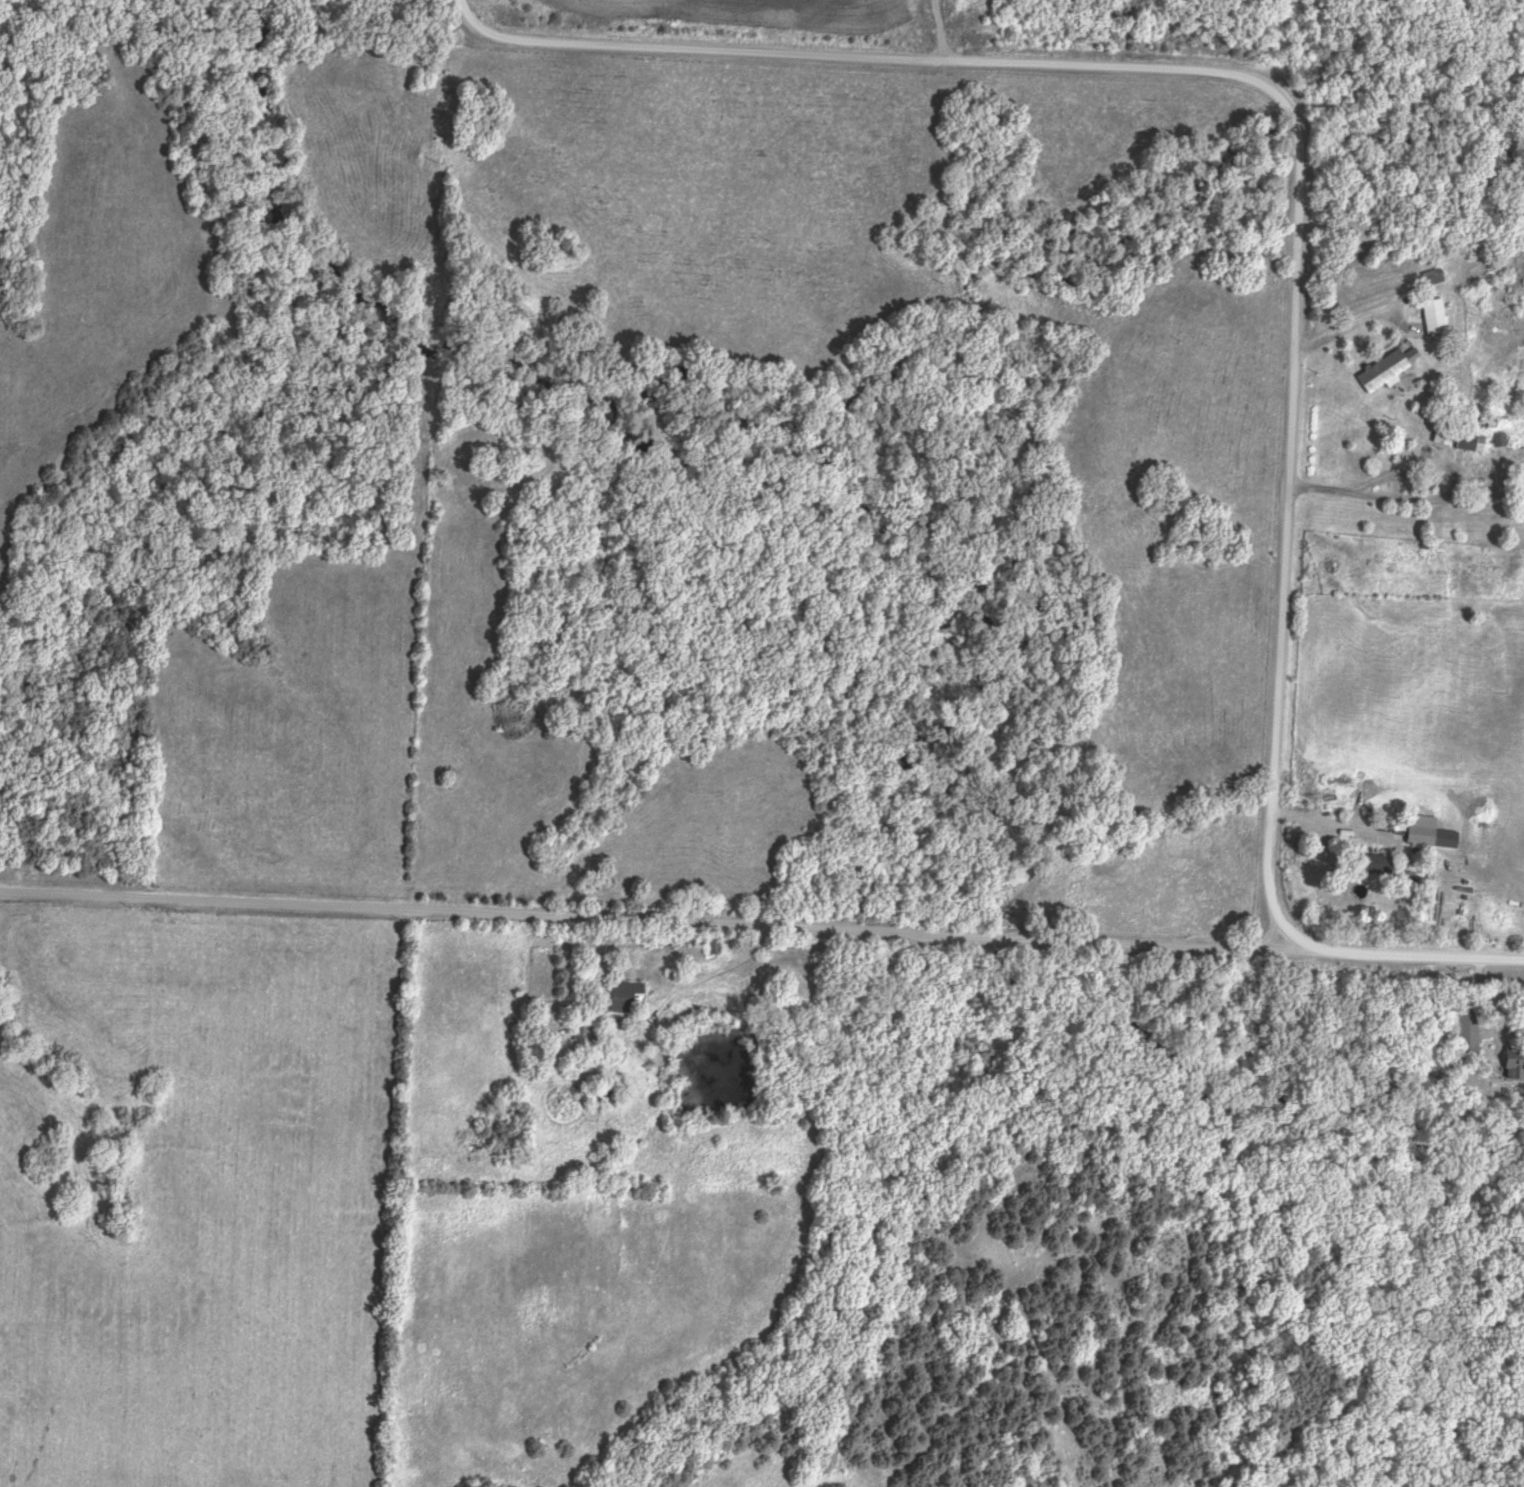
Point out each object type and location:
road: (942, 29)
road: (1285, 102)
building: (1434, 278)
building: (1435, 317)
road: (1361, 324)
building: (1389, 368)
building: (1444, 436)
building: (1472, 442)
building: (1491, 482)
road: (1315, 490)
road: (1444, 498)
road: (1336, 825)
road: (762, 920)
road: (719, 967)
building: (627, 997)
building: (1467, 1032)
building: (588, 1041)
building: (1515, 1062)

